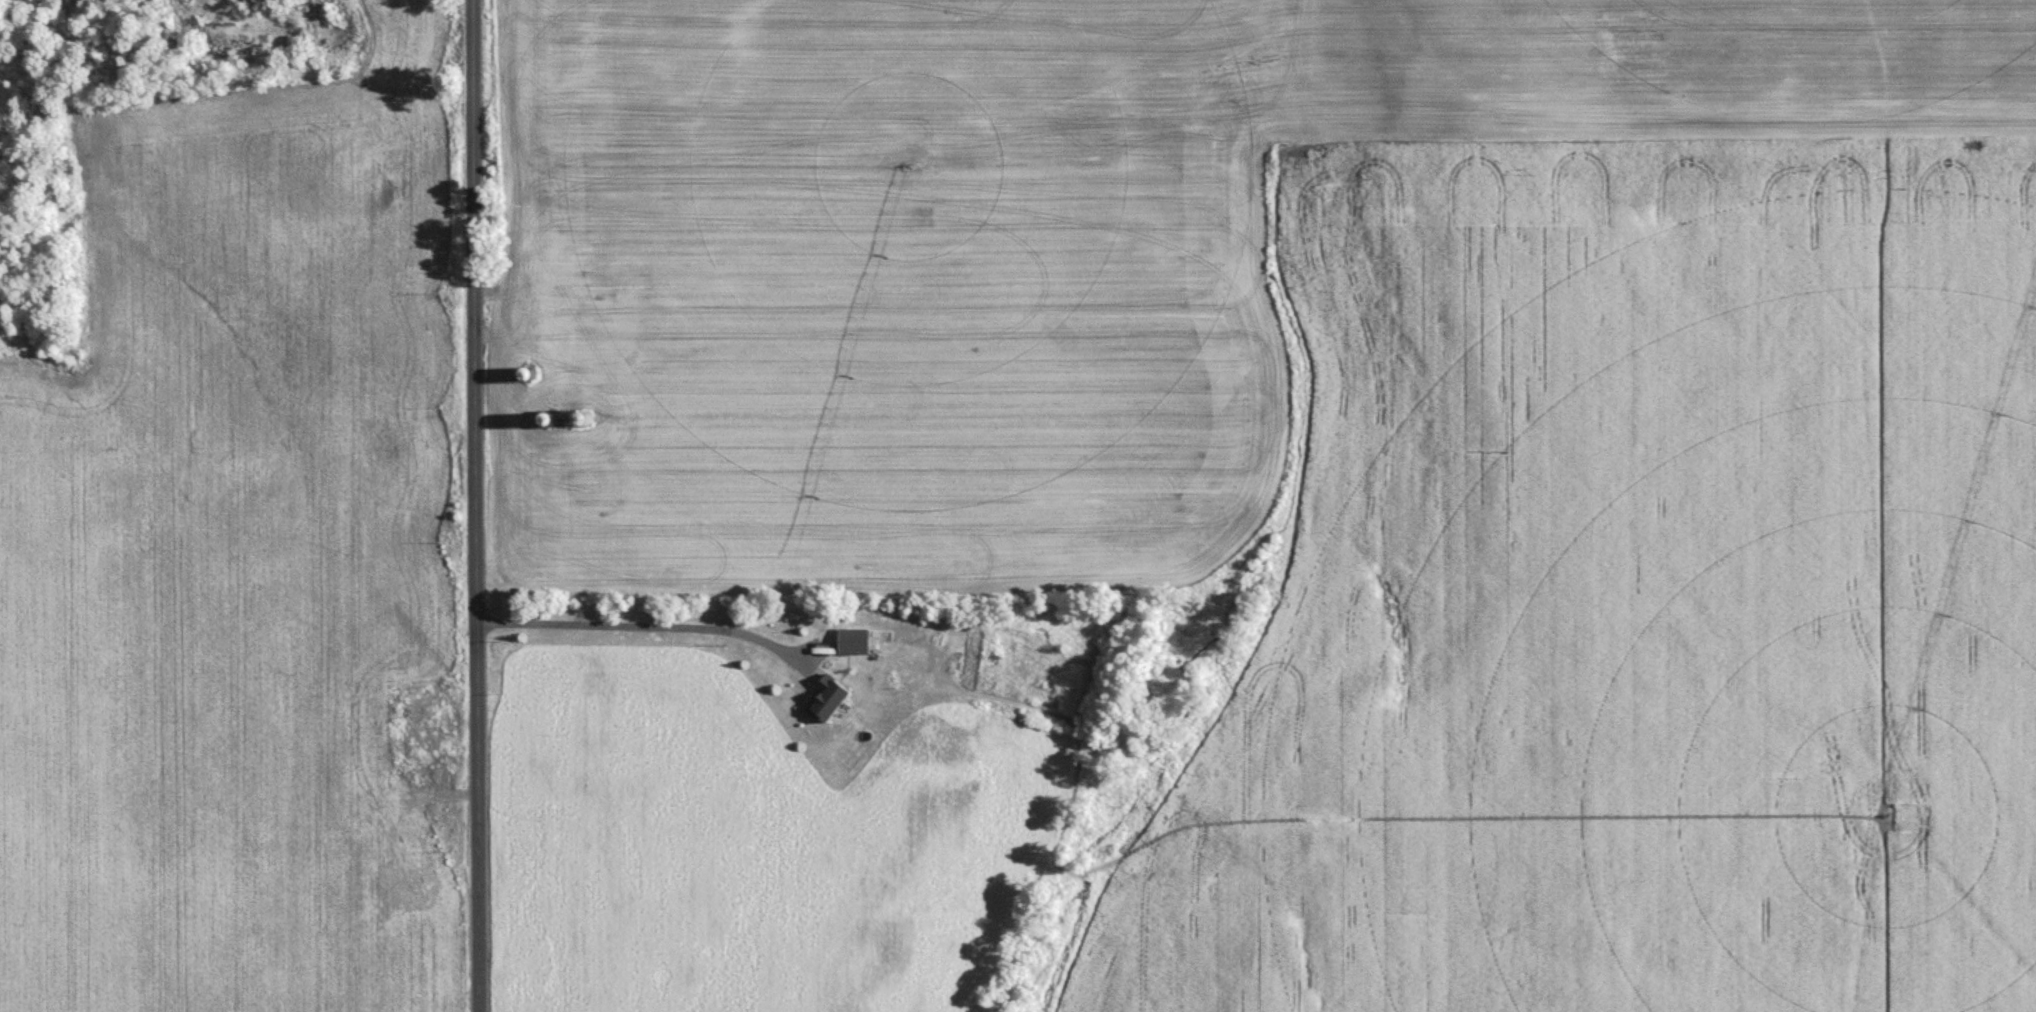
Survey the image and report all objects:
road: (477, 506)
road: (639, 626)
building: (858, 642)
building: (830, 701)

